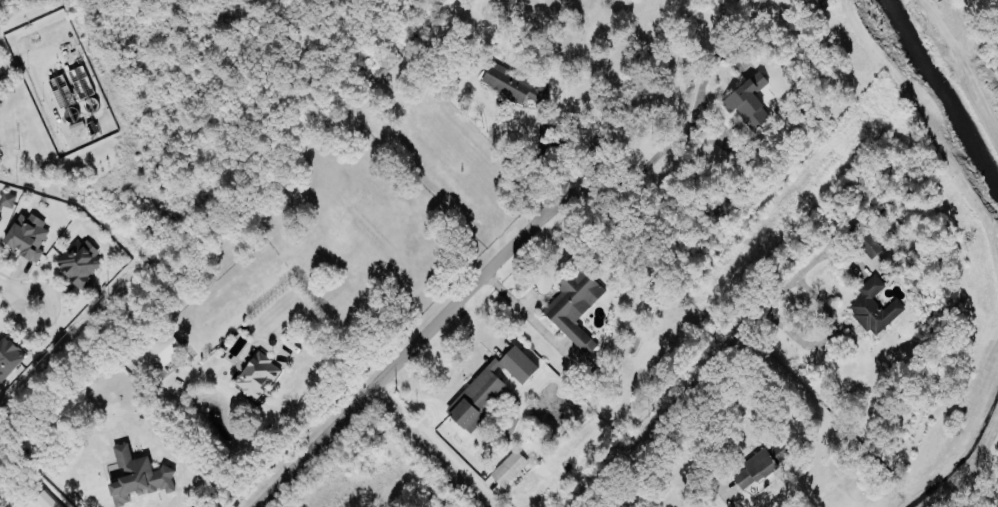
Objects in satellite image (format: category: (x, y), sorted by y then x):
building: (386, 64)
building: (513, 85)
river: (939, 100)
building: (748, 102)
road: (536, 162)
road: (622, 178)
building: (6, 200)
building: (887, 222)
building: (26, 236)
building: (863, 240)
building: (79, 262)
road: (16, 297)
building: (873, 306)
building: (573, 307)
building: (161, 350)
building: (8, 357)
road: (401, 358)
building: (256, 378)
road: (695, 379)
building: (473, 400)
road: (429, 448)
road: (687, 451)
building: (761, 466)
building: (507, 468)
building: (138, 476)
building: (45, 500)

